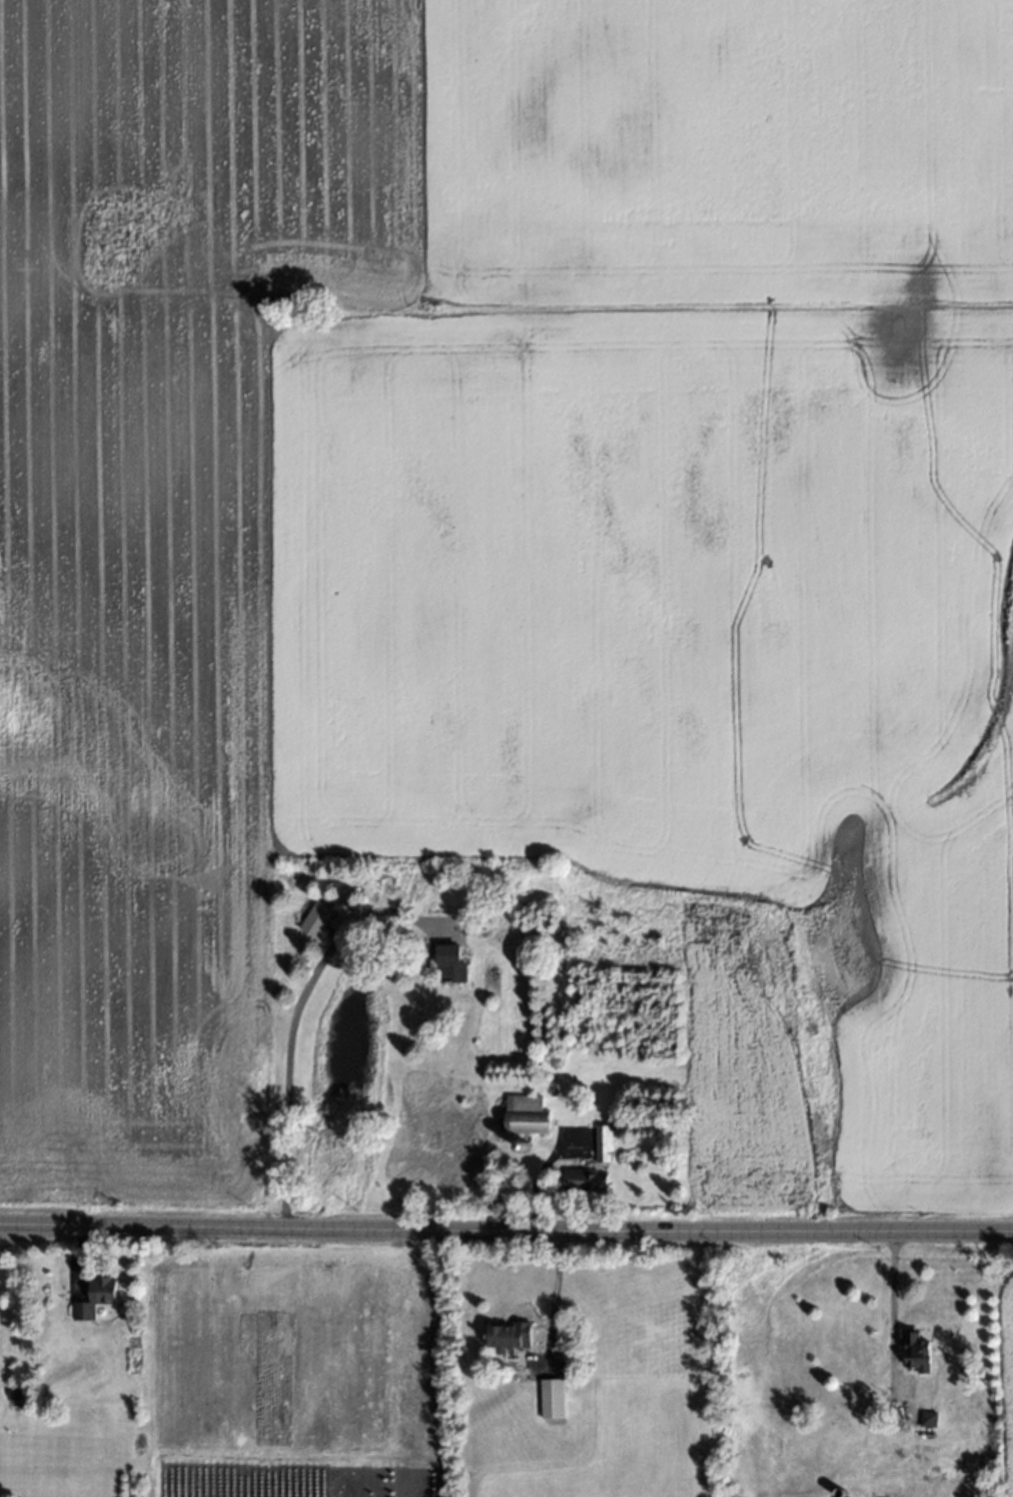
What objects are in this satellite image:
building: (312, 919)
building: (446, 965)
building: (486, 993)
road: (289, 1022)
building: (523, 1114)
building: (600, 1143)
building: (520, 1144)
building: (581, 1180)
road: (506, 1226)
road: (554, 1292)
road: (890, 1293)
building: (93, 1296)
building: (502, 1332)
building: (918, 1354)
building: (10, 1389)
building: (553, 1400)
building: (928, 1418)
building: (836, 1490)

